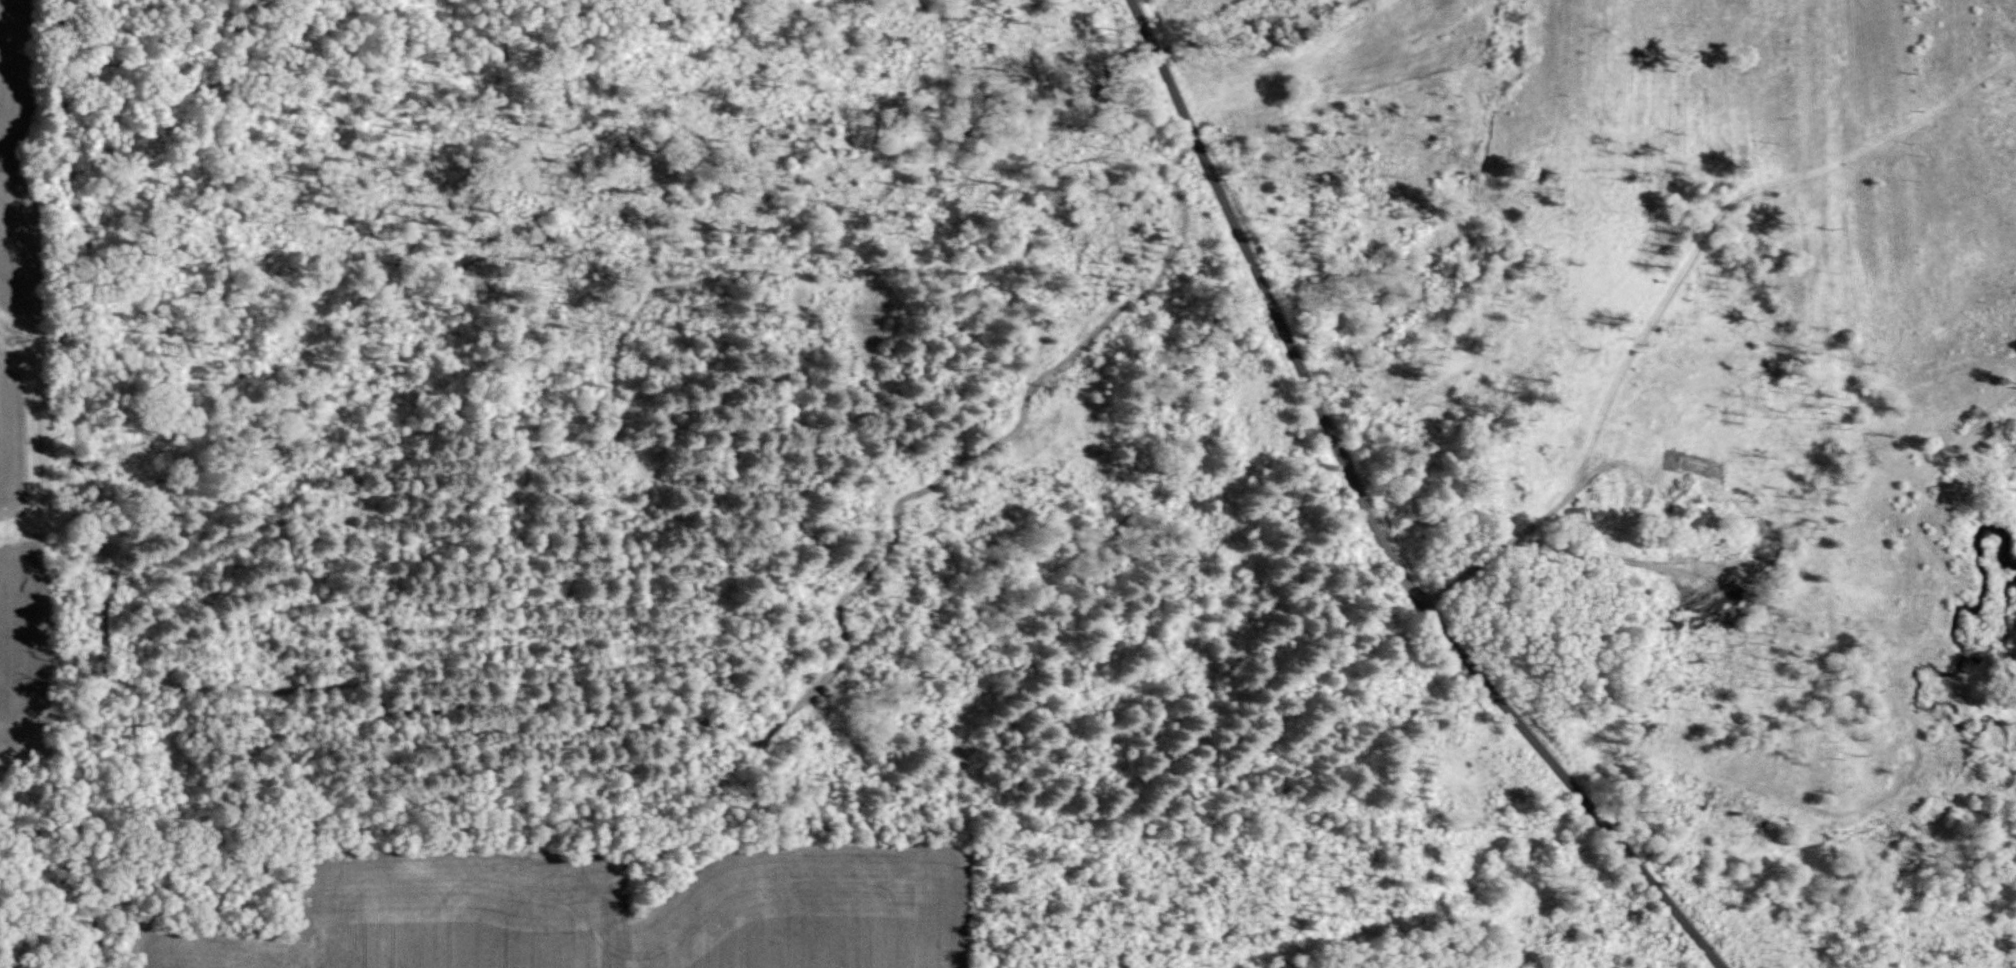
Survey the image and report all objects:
road: (1730, 201)
road: (945, 467)
road: (1368, 518)
road: (1534, 521)
road: (1594, 555)

